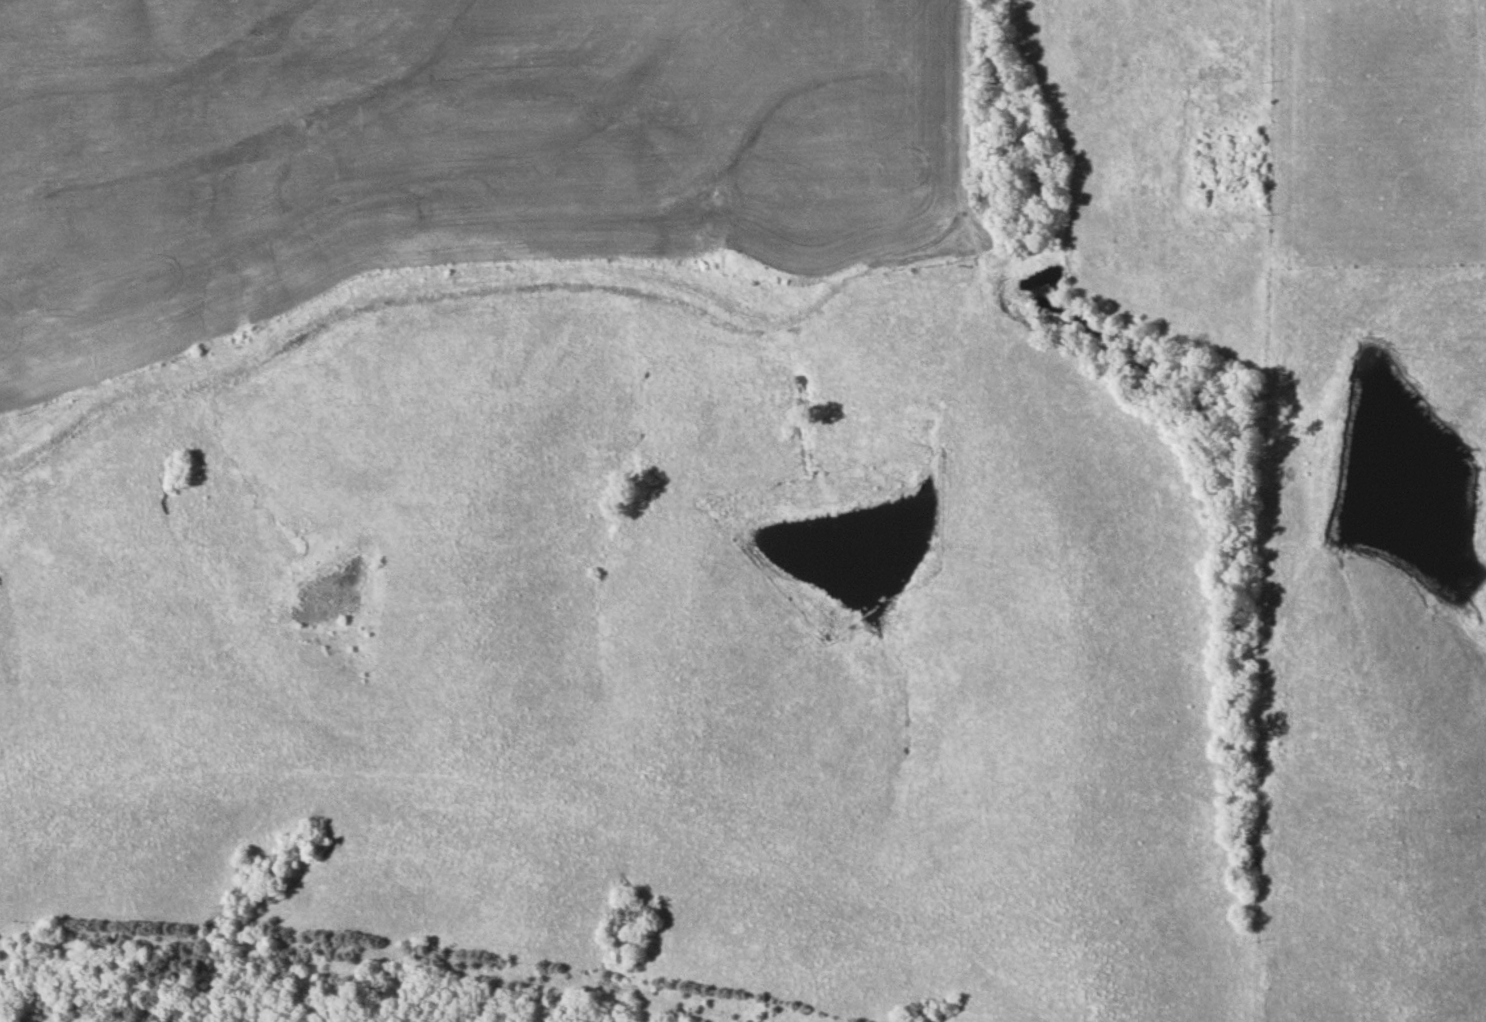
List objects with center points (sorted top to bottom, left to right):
park: (1229, 130)

